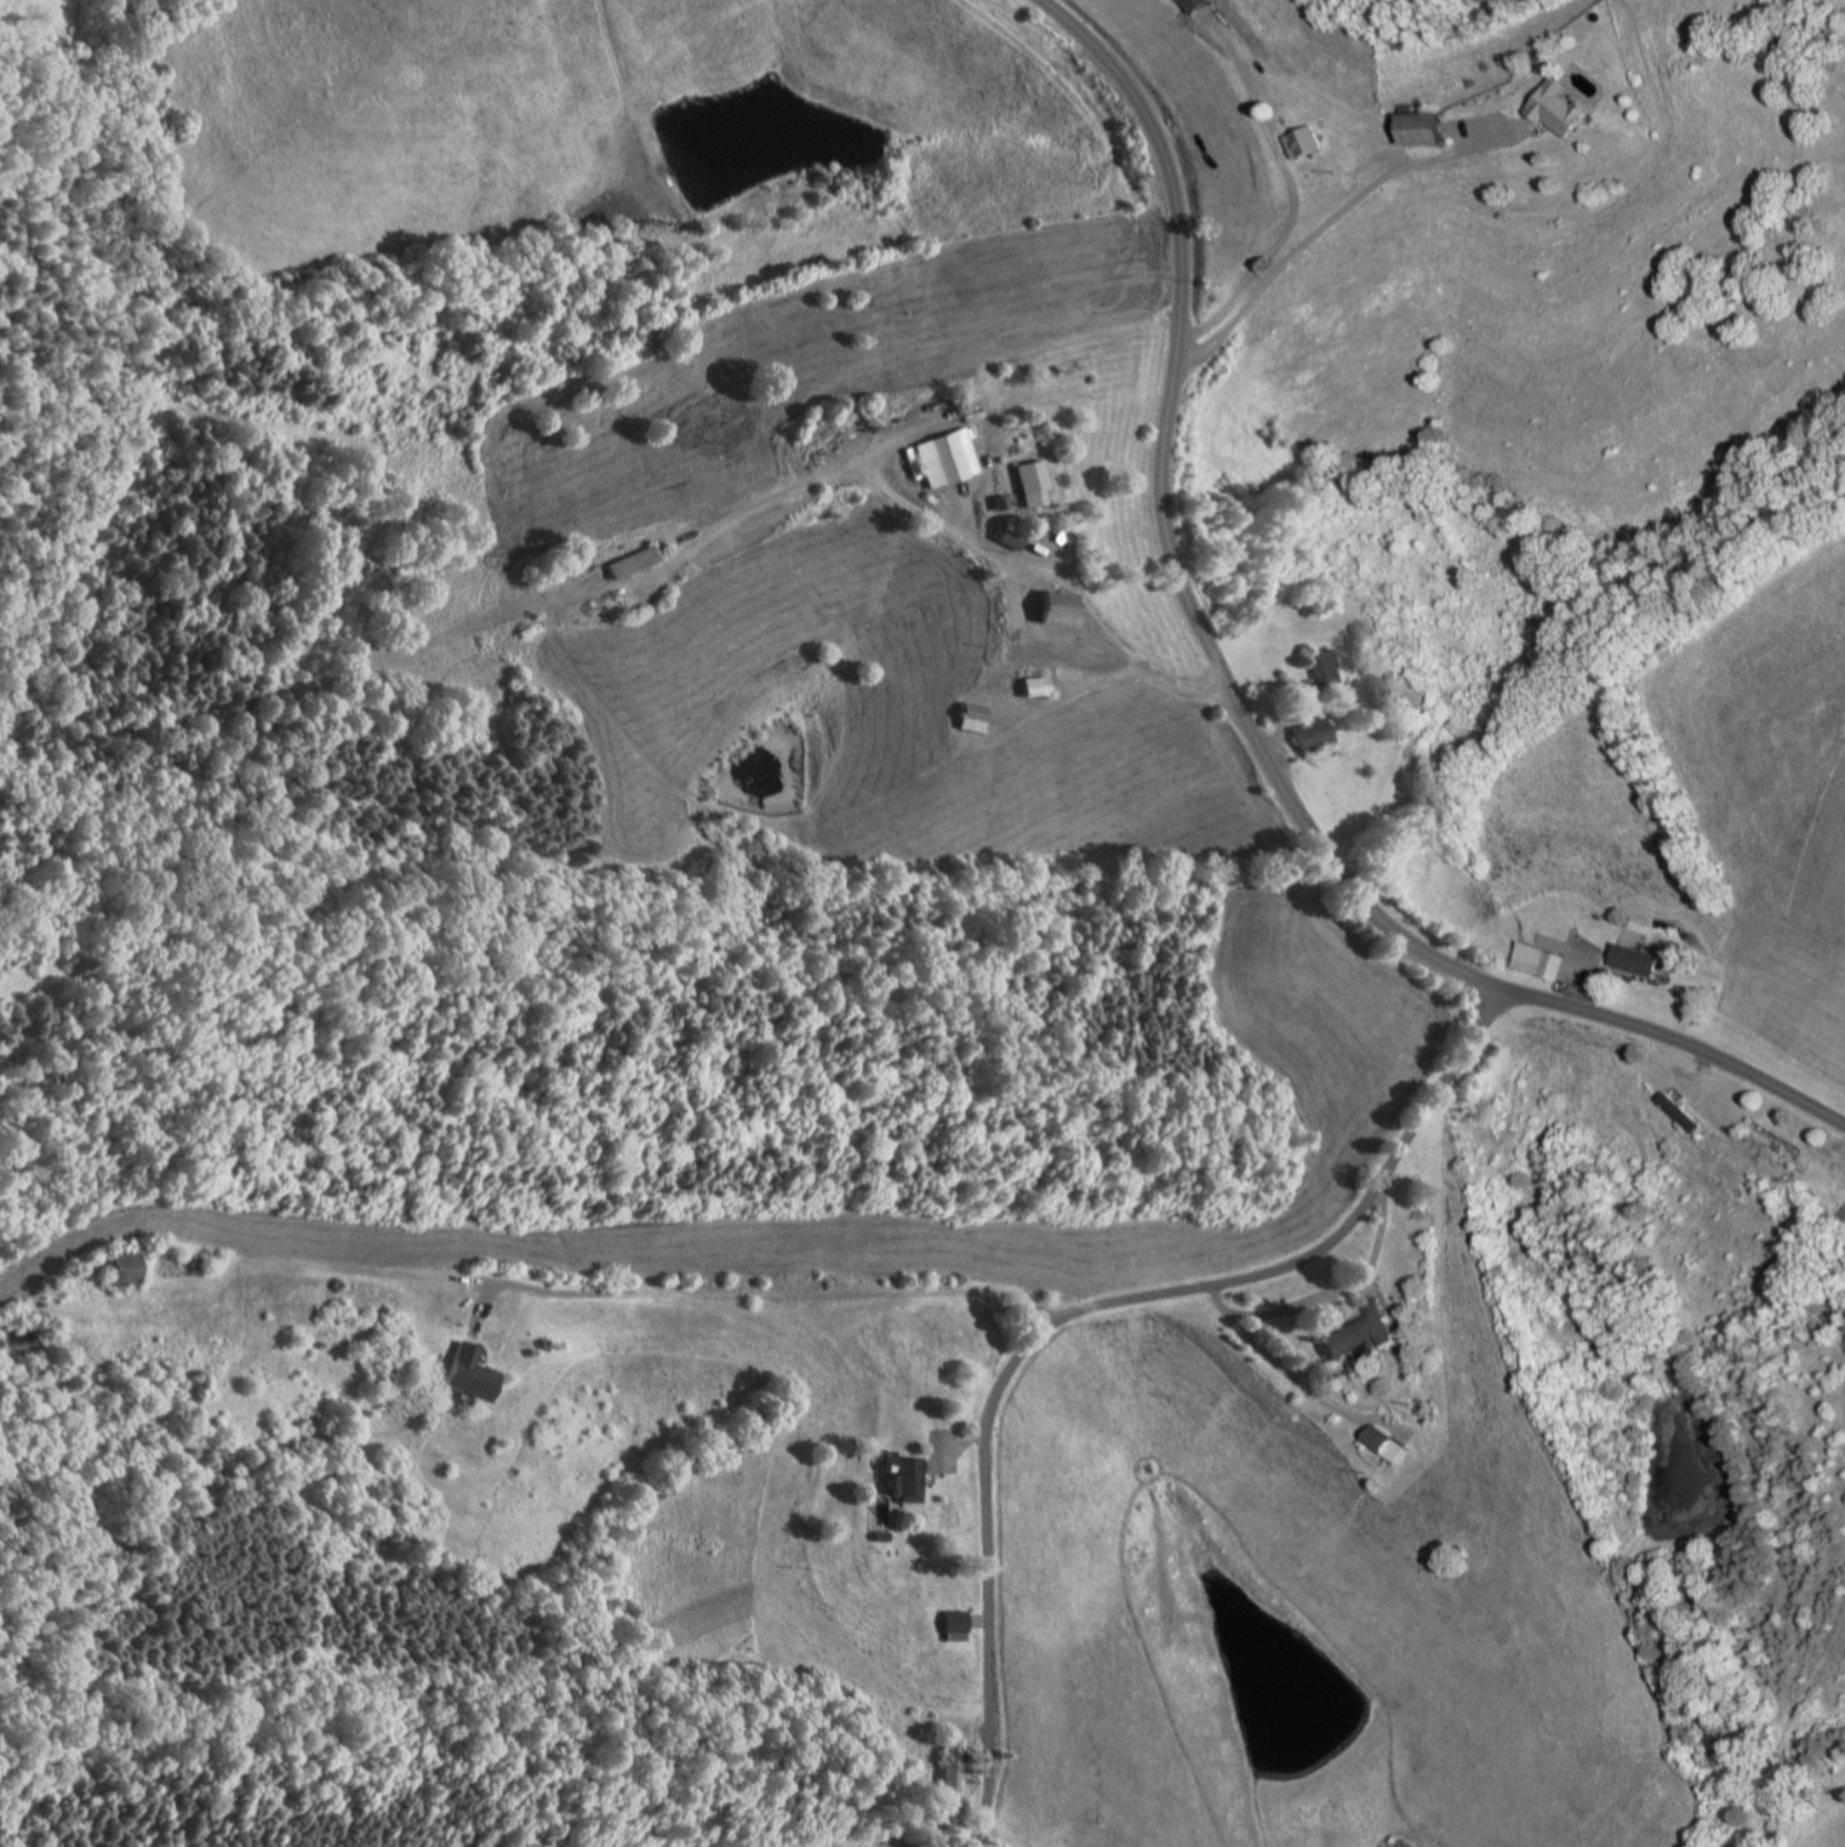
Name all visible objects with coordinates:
building: (1184, 0)
building: (1198, 4)
building: (1541, 57)
building: (1502, 108)
building: (1560, 108)
building: (1426, 129)
road: (1485, 132)
building: (1308, 142)
road: (1296, 193)
road: (1142, 215)
road: (1338, 215)
building: (942, 456)
building: (1022, 480)
building: (995, 500)
road: (961, 504)
road: (718, 518)
building: (1004, 535)
road: (1033, 538)
road: (1026, 545)
building: (624, 561)
road: (1029, 566)
building: (537, 572)
road: (572, 592)
road: (1009, 599)
building: (1050, 605)
building: (1313, 673)
building: (1399, 674)
road: (1086, 680)
building: (1033, 684)
road: (1236, 702)
building: (967, 716)
road: (1279, 724)
building: (1304, 732)
building: (1636, 957)
building: (1542, 958)
road: (1610, 967)
road: (1582, 976)
road: (1695, 1076)
building: (1678, 1111)
building: (184, 1262)
road: (302, 1262)
building: (109, 1266)
road: (1346, 1284)
road: (1361, 1287)
road: (767, 1292)
road: (1337, 1306)
road: (1074, 1310)
road: (1388, 1310)
road: (1243, 1311)
road: (475, 1312)
road: (1399, 1319)
building: (1358, 1330)
road: (485, 1347)
building: (464, 1372)
road: (1335, 1372)
road: (1297, 1381)
road: (1371, 1386)
road: (946, 1441)
building: (1384, 1442)
road: (950, 1450)
building: (899, 1476)
road: (930, 1480)
building: (876, 1535)
road: (973, 1620)
building: (950, 1625)
building: (950, 1766)
building: (944, 1829)

